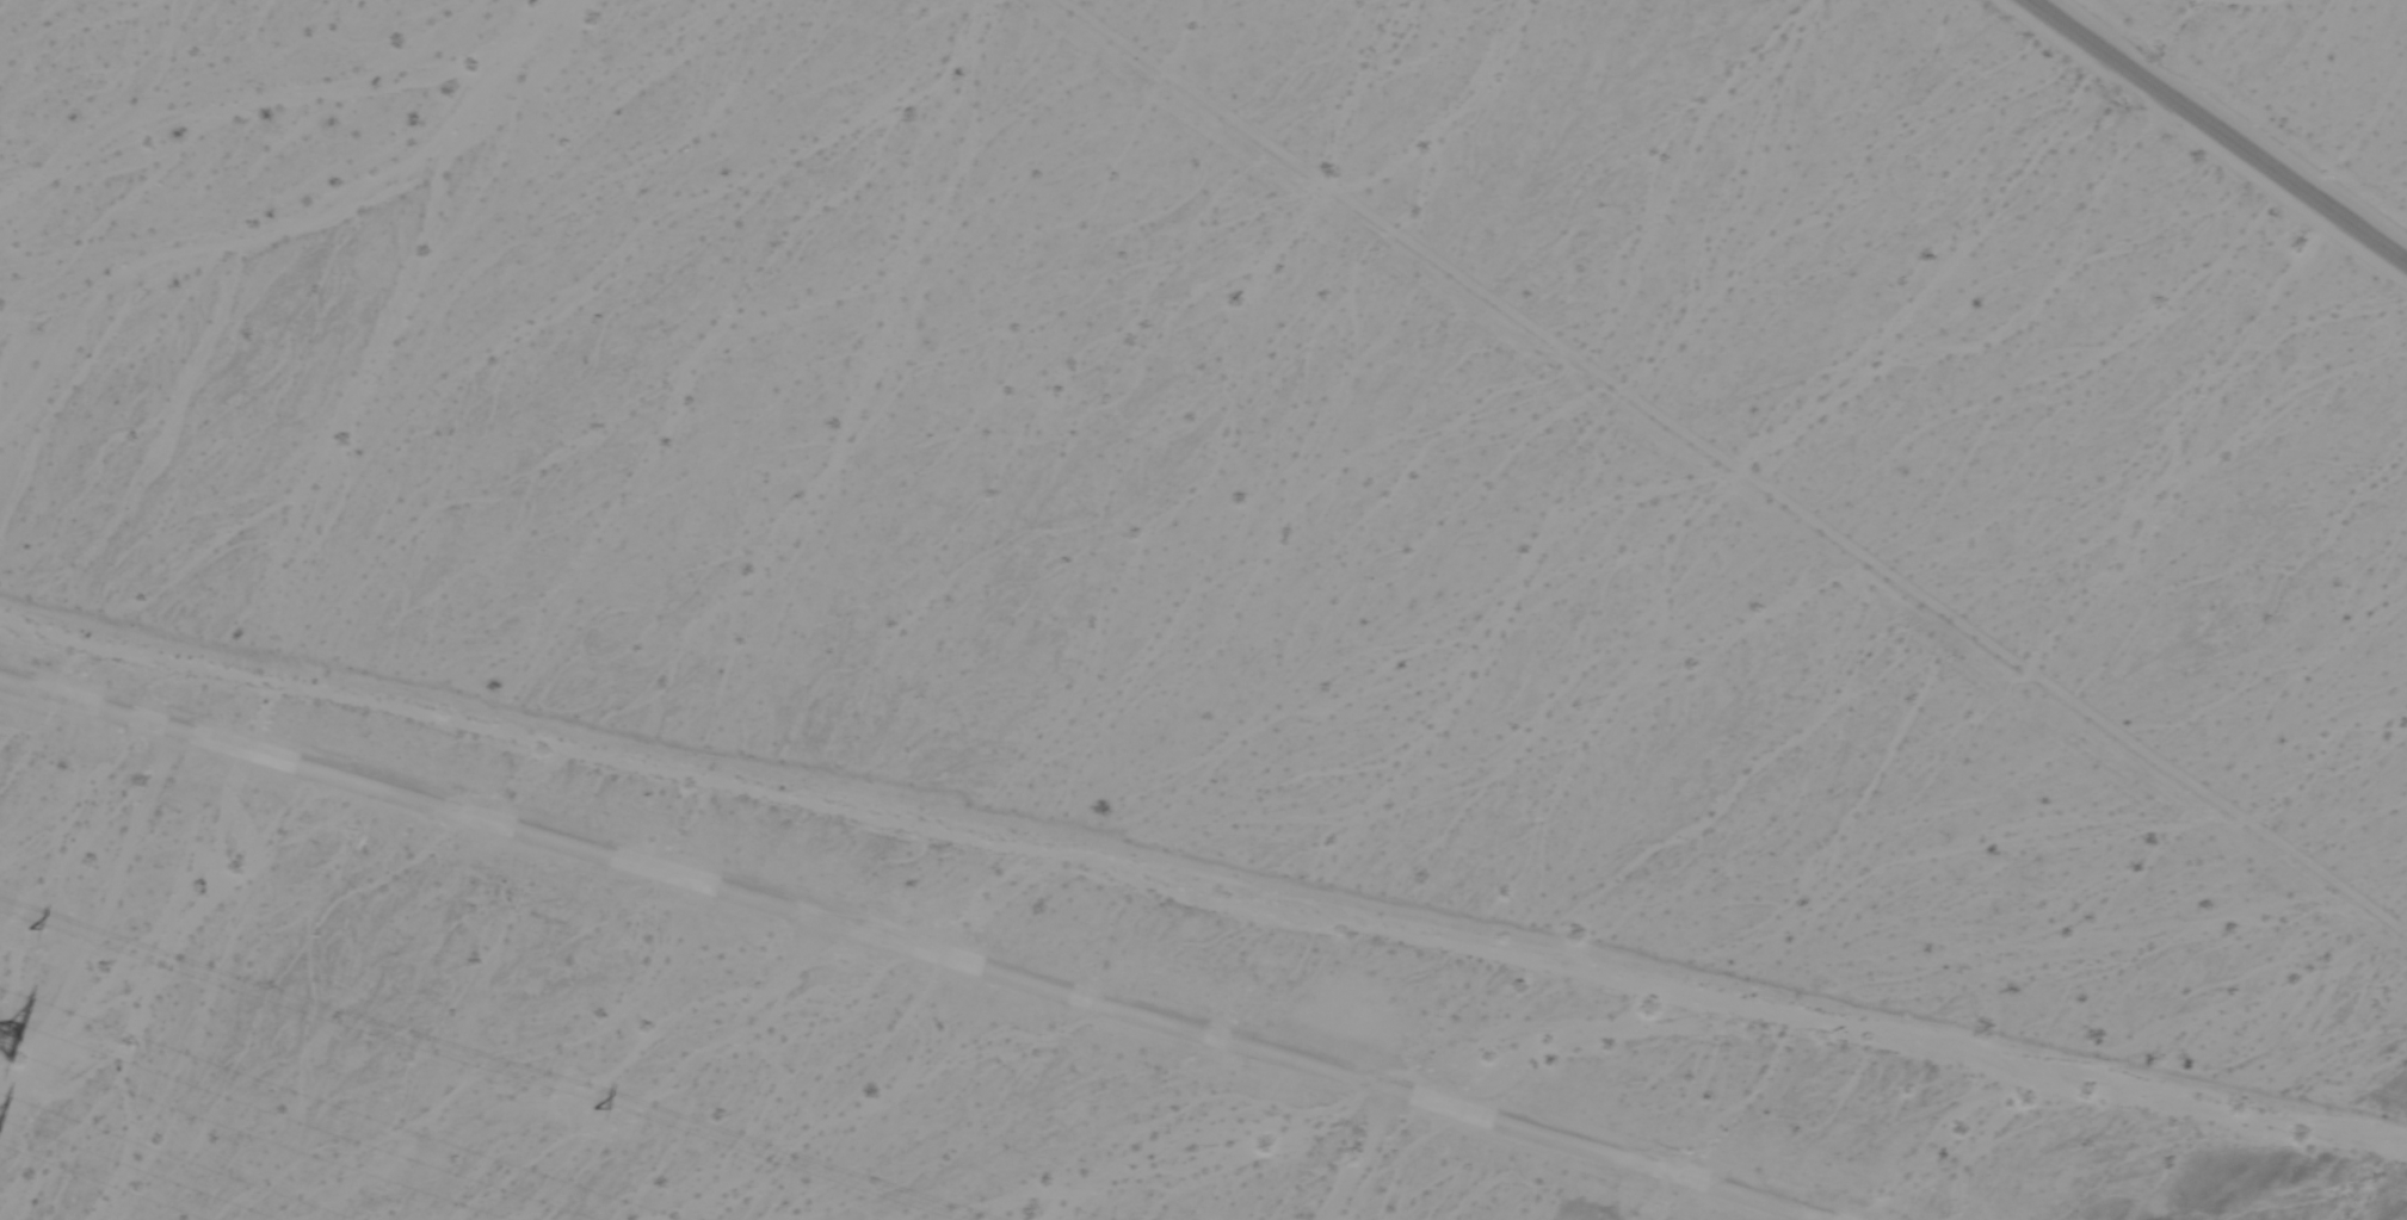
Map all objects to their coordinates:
road: (2221, 129)
road: (919, 942)

